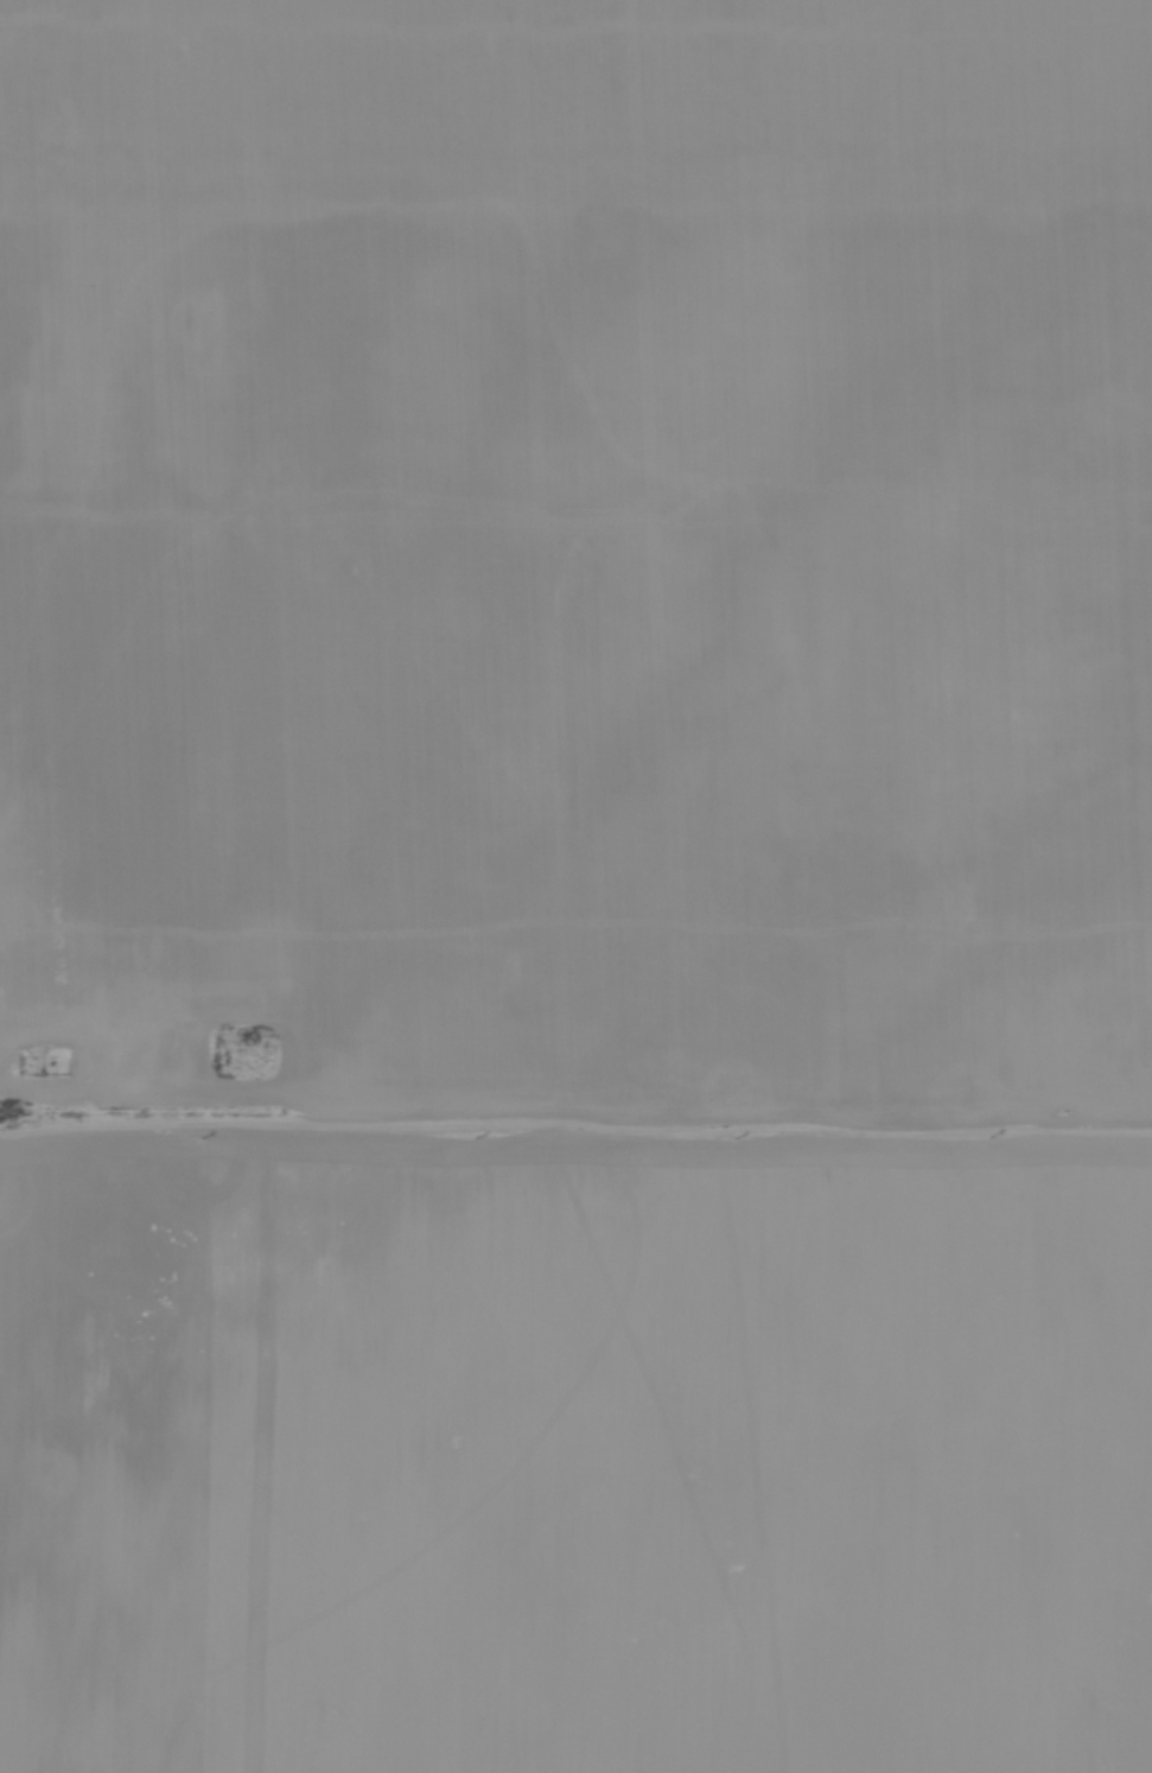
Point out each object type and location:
road: (575, 222)
road: (575, 1127)

